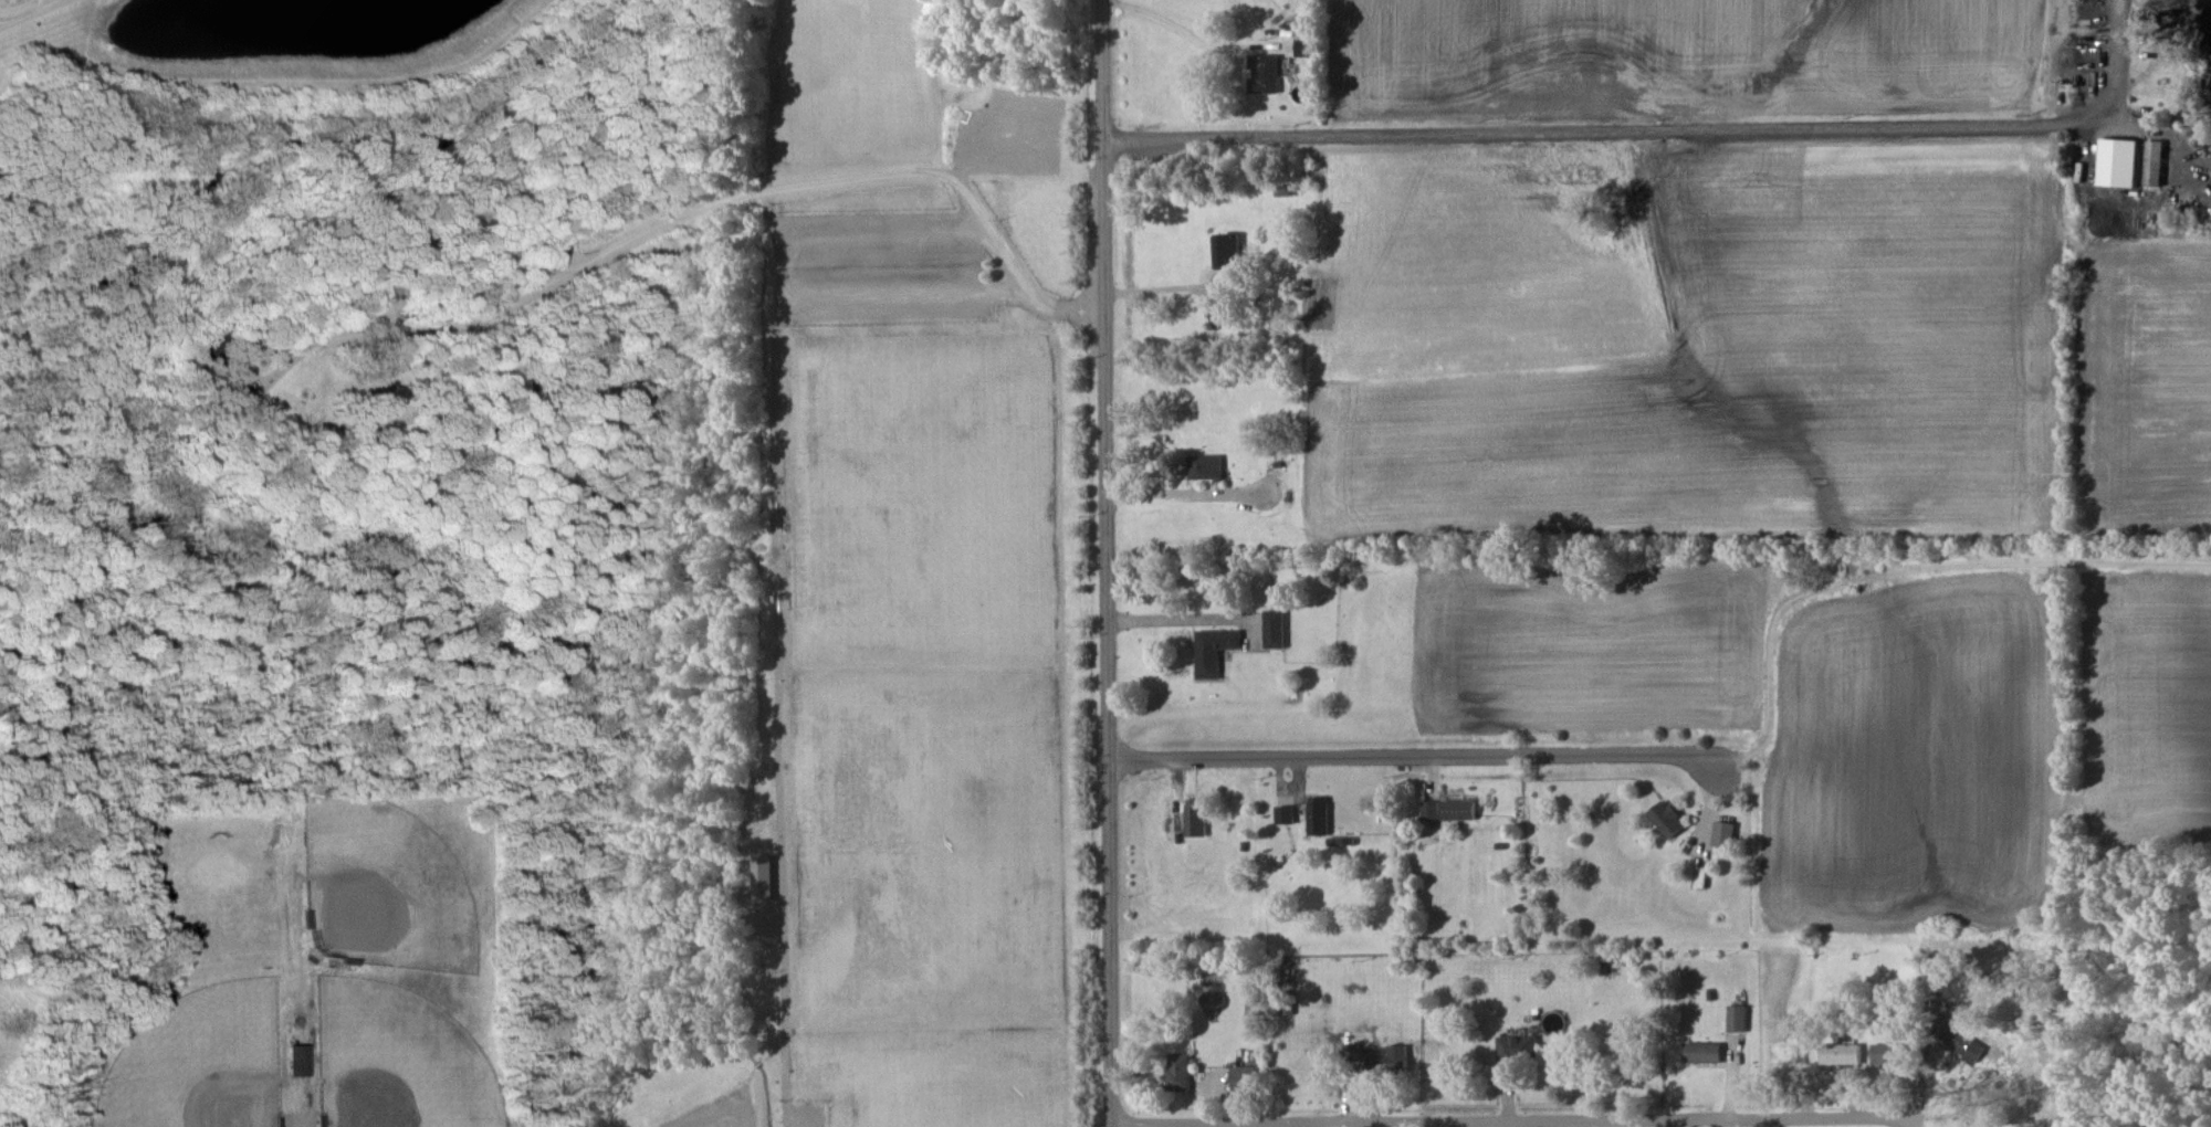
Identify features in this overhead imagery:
road: (34, 13)
building: (1304, 40)
building: (1264, 73)
road: (1653, 122)
building: (2119, 162)
building: (2154, 162)
building: (1227, 251)
road: (1017, 277)
road: (1160, 289)
building: (1223, 316)
building: (1205, 466)
road: (1170, 492)
road: (1107, 562)
road: (1901, 569)
road: (1175, 620)
building: (1274, 629)
building: (1214, 650)
road: (1421, 758)
building: (1448, 809)
building: (1285, 813)
building: (1318, 815)
building: (1195, 817)
building: (1666, 818)
building: (1722, 834)
building: (762, 878)
building: (1736, 1018)
building: (1960, 1041)
building: (1792, 1043)
building: (1517, 1052)
building: (1702, 1052)
building: (1352, 1053)
building: (1886, 1053)
building: (1840, 1054)
building: (1386, 1058)
building: (297, 1060)
building: (1178, 1071)
building: (1243, 1077)
road: (1511, 1123)

